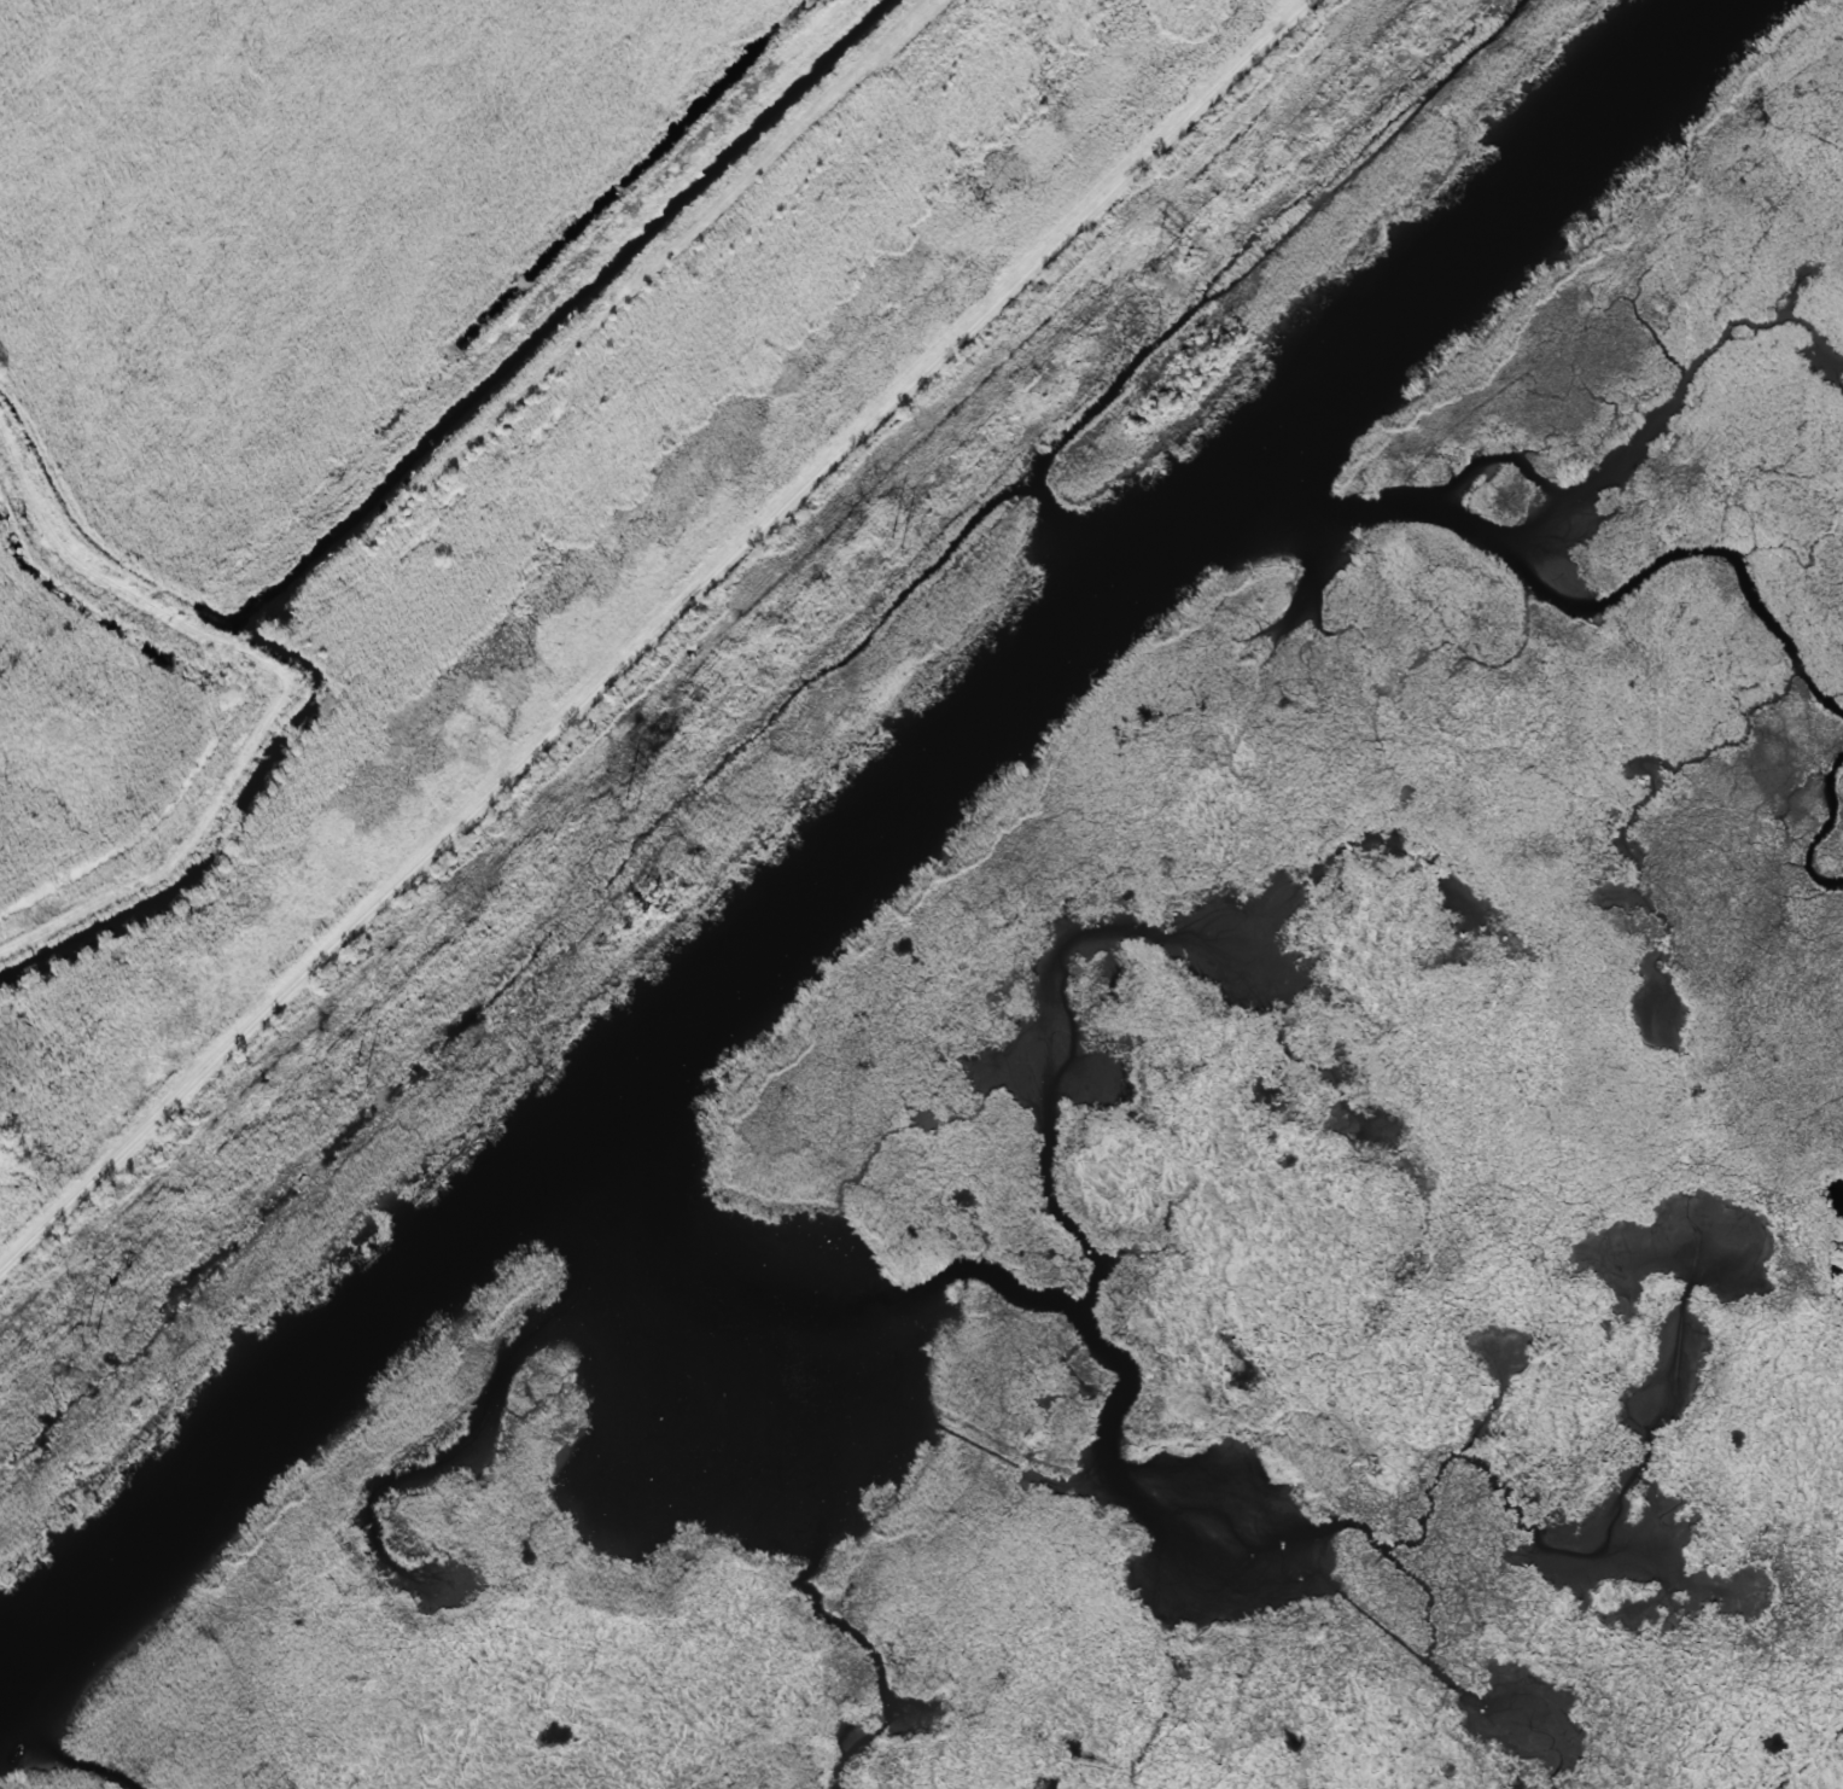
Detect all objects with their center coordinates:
power tower: (1160, 287)
power tower: (631, 806)
power tower: (362, 1066)
power tower: (91, 1333)

